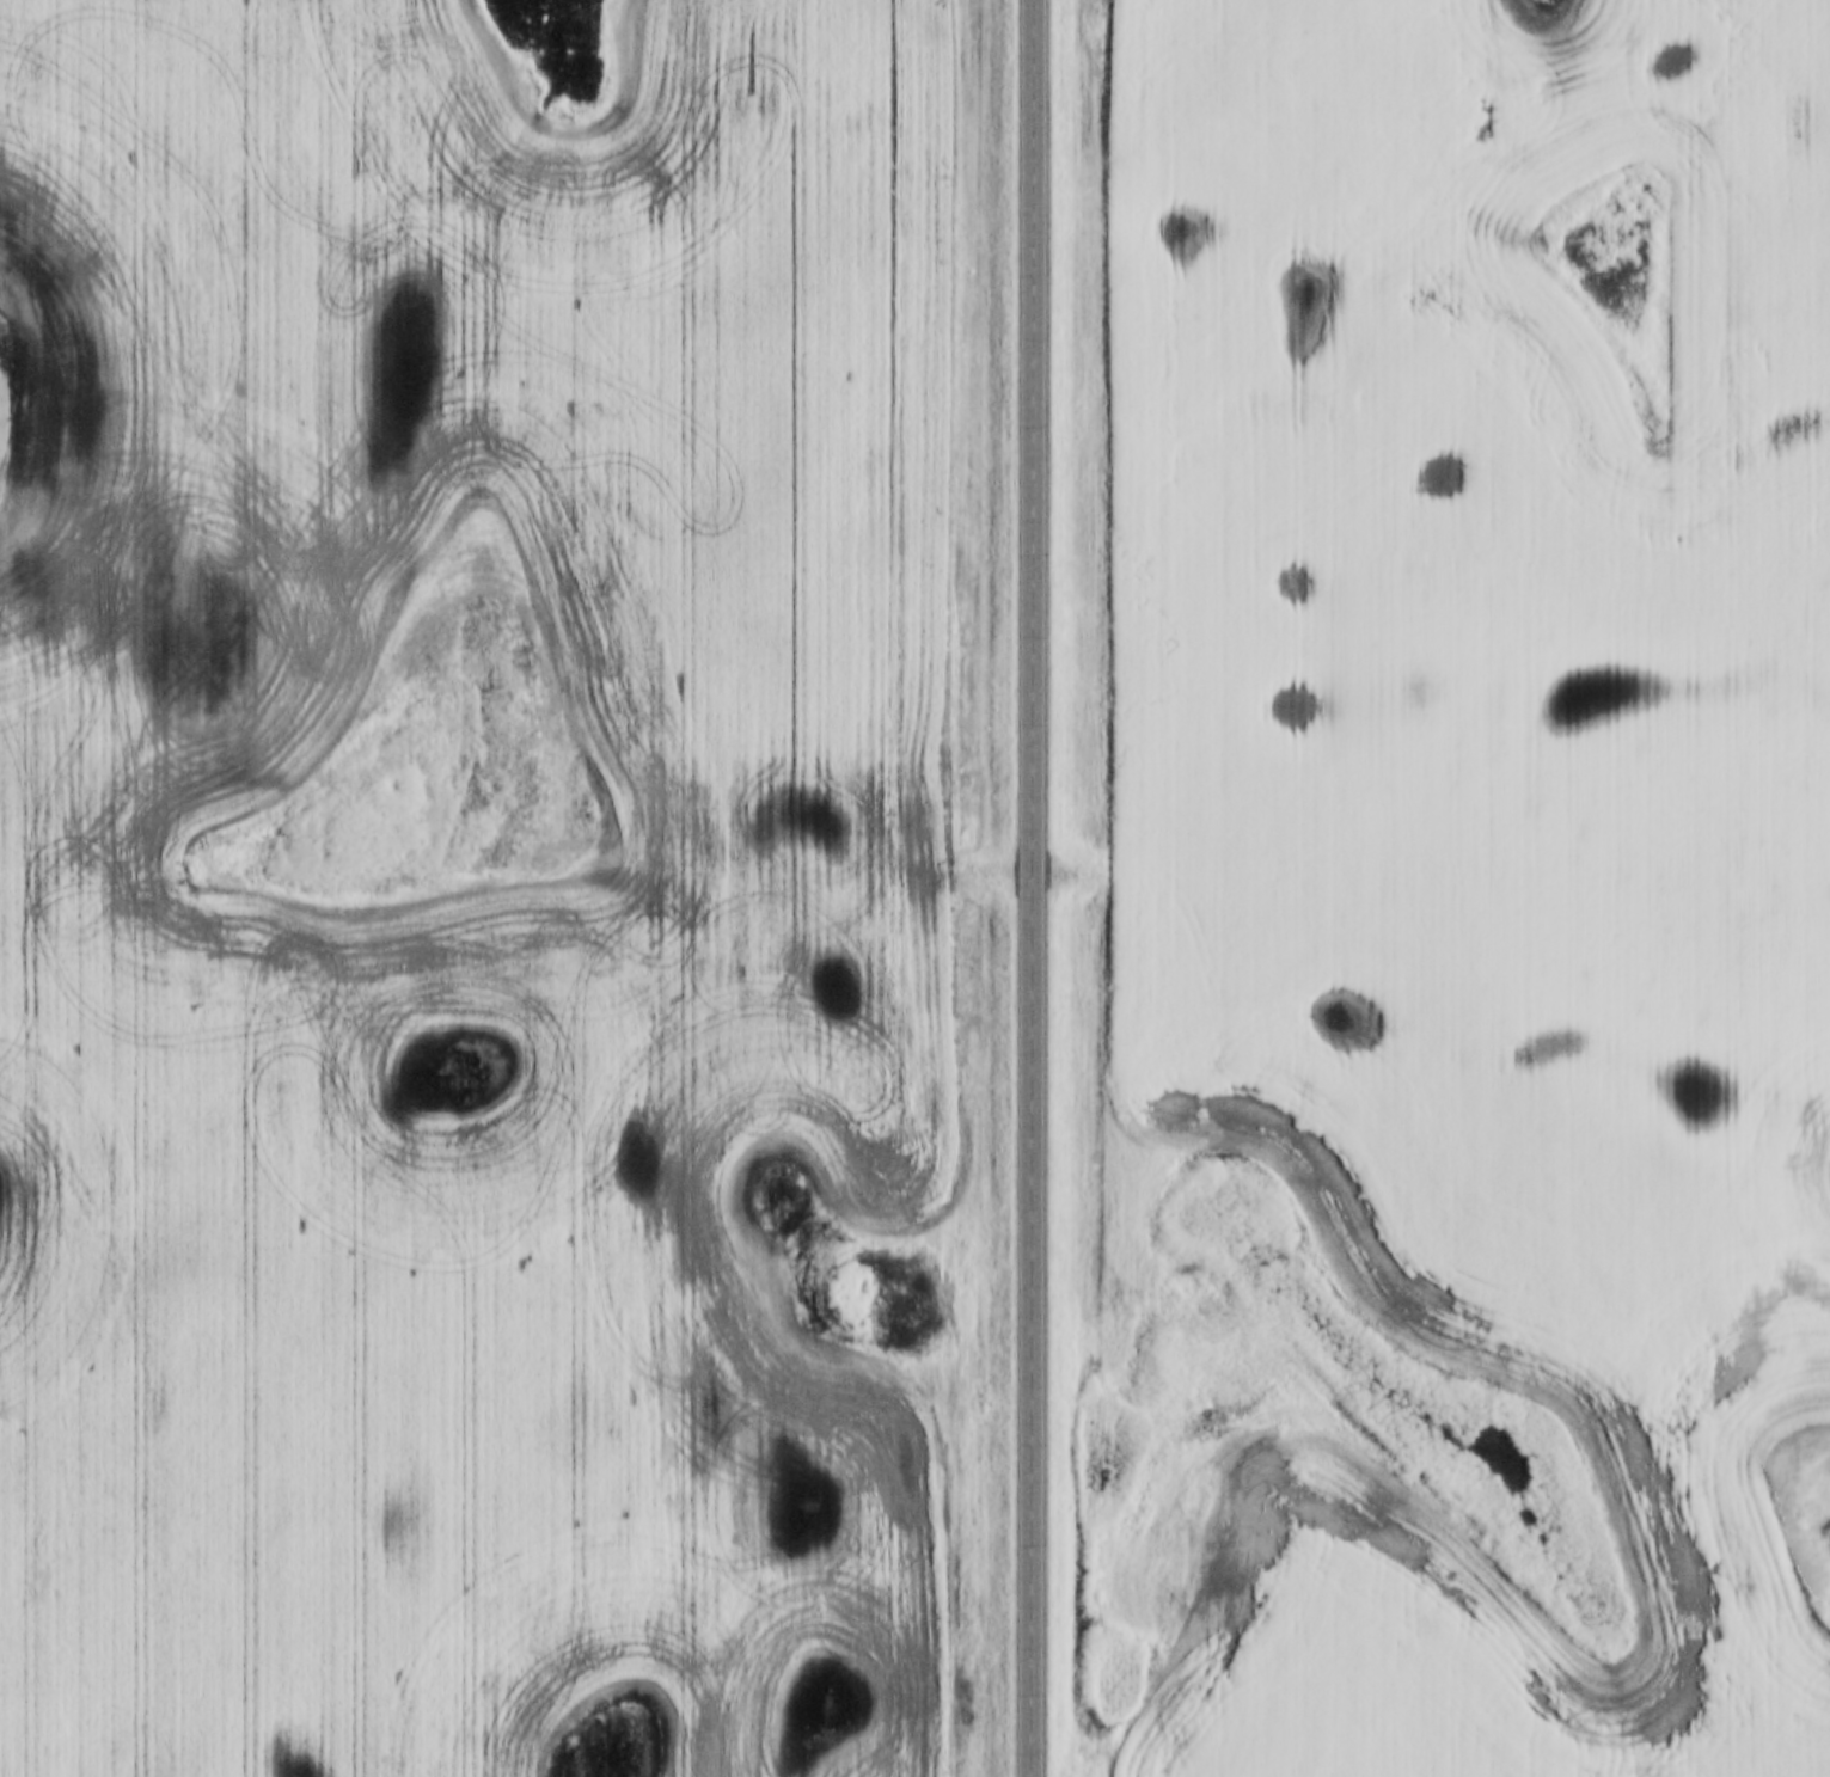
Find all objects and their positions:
road: (1030, 888)

